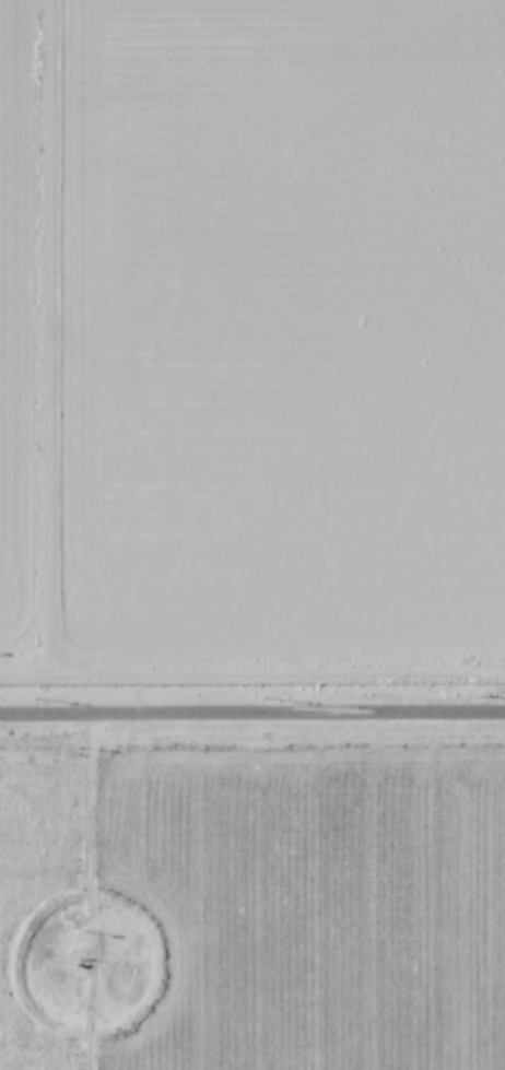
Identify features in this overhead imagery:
crop: (251, 343)
road: (252, 713)
crop: (252, 902)

